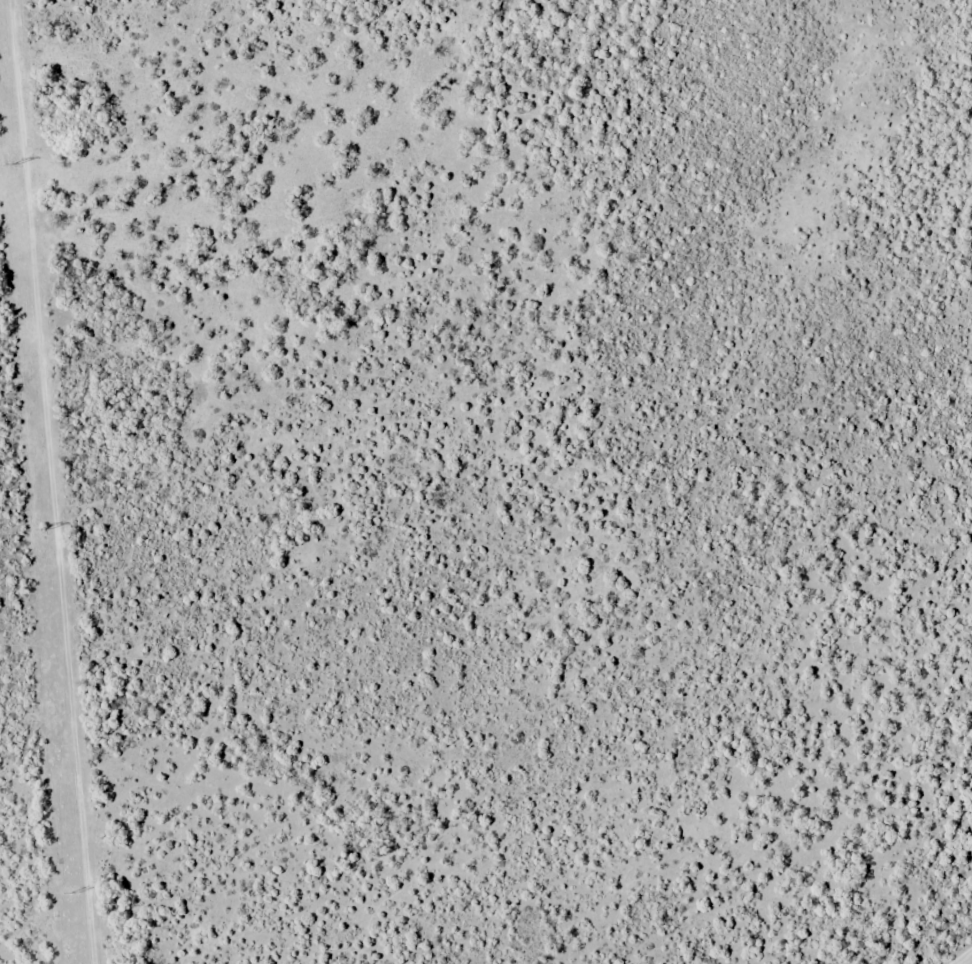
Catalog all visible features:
power tower: (14, 163)
power tower: (47, 531)
road: (113, 853)
power tower: (75, 892)

